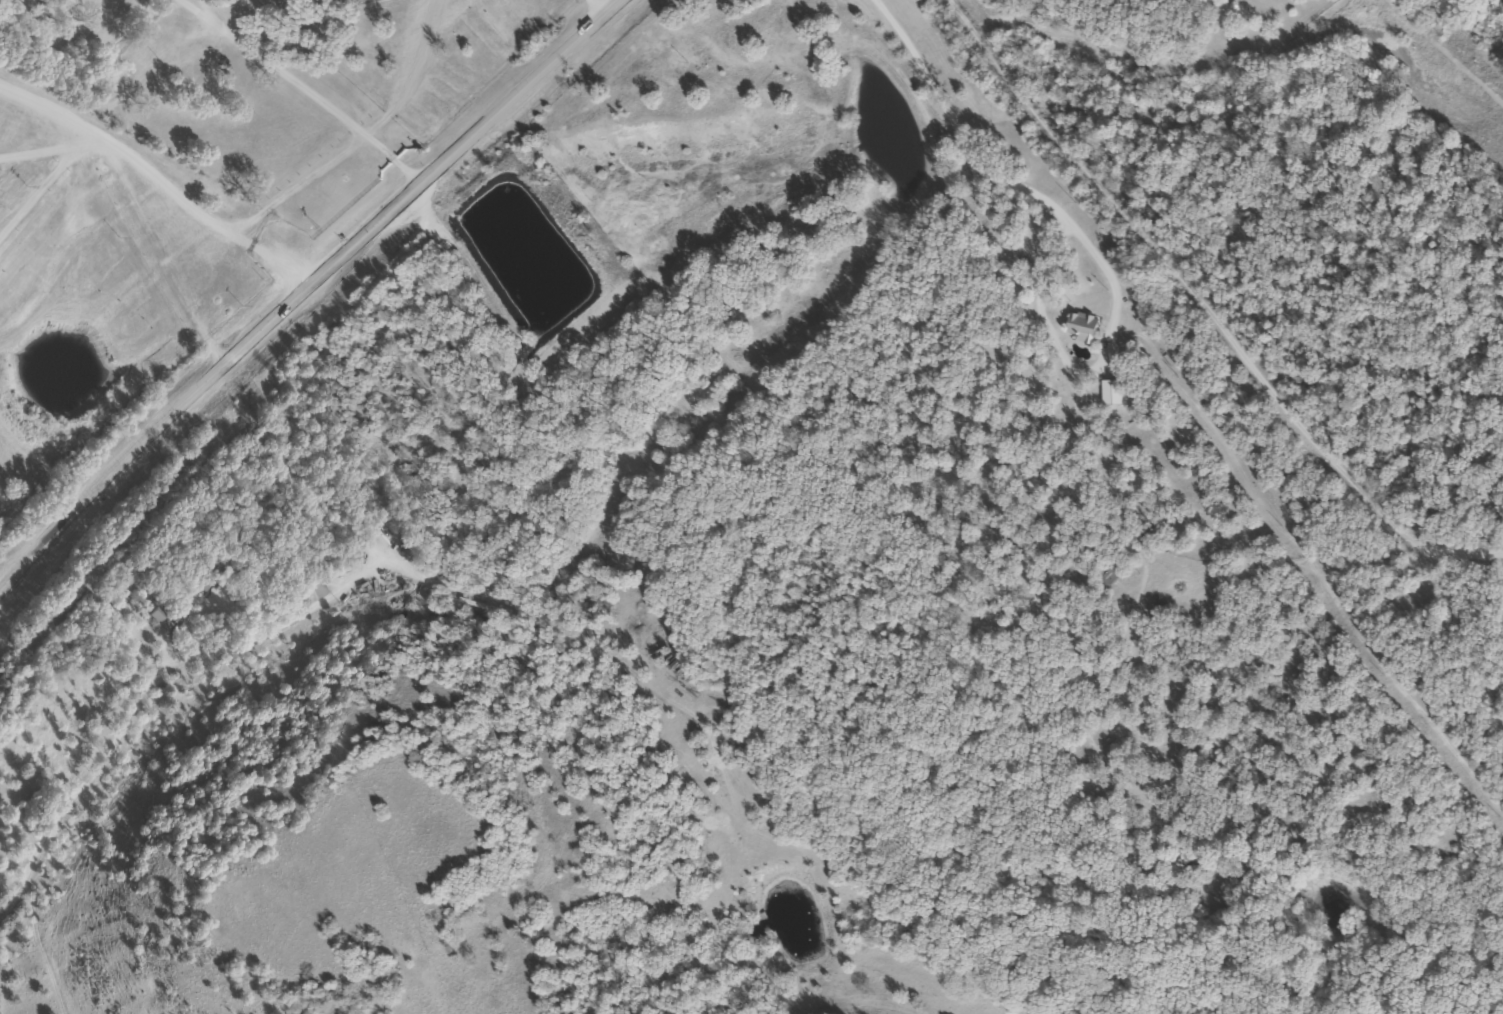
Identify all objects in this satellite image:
road: (164, 166)
road: (303, 288)
building: (1080, 326)
building: (1104, 574)
building: (310, 589)
building: (168, 616)
building: (95, 654)
road: (91, 686)

